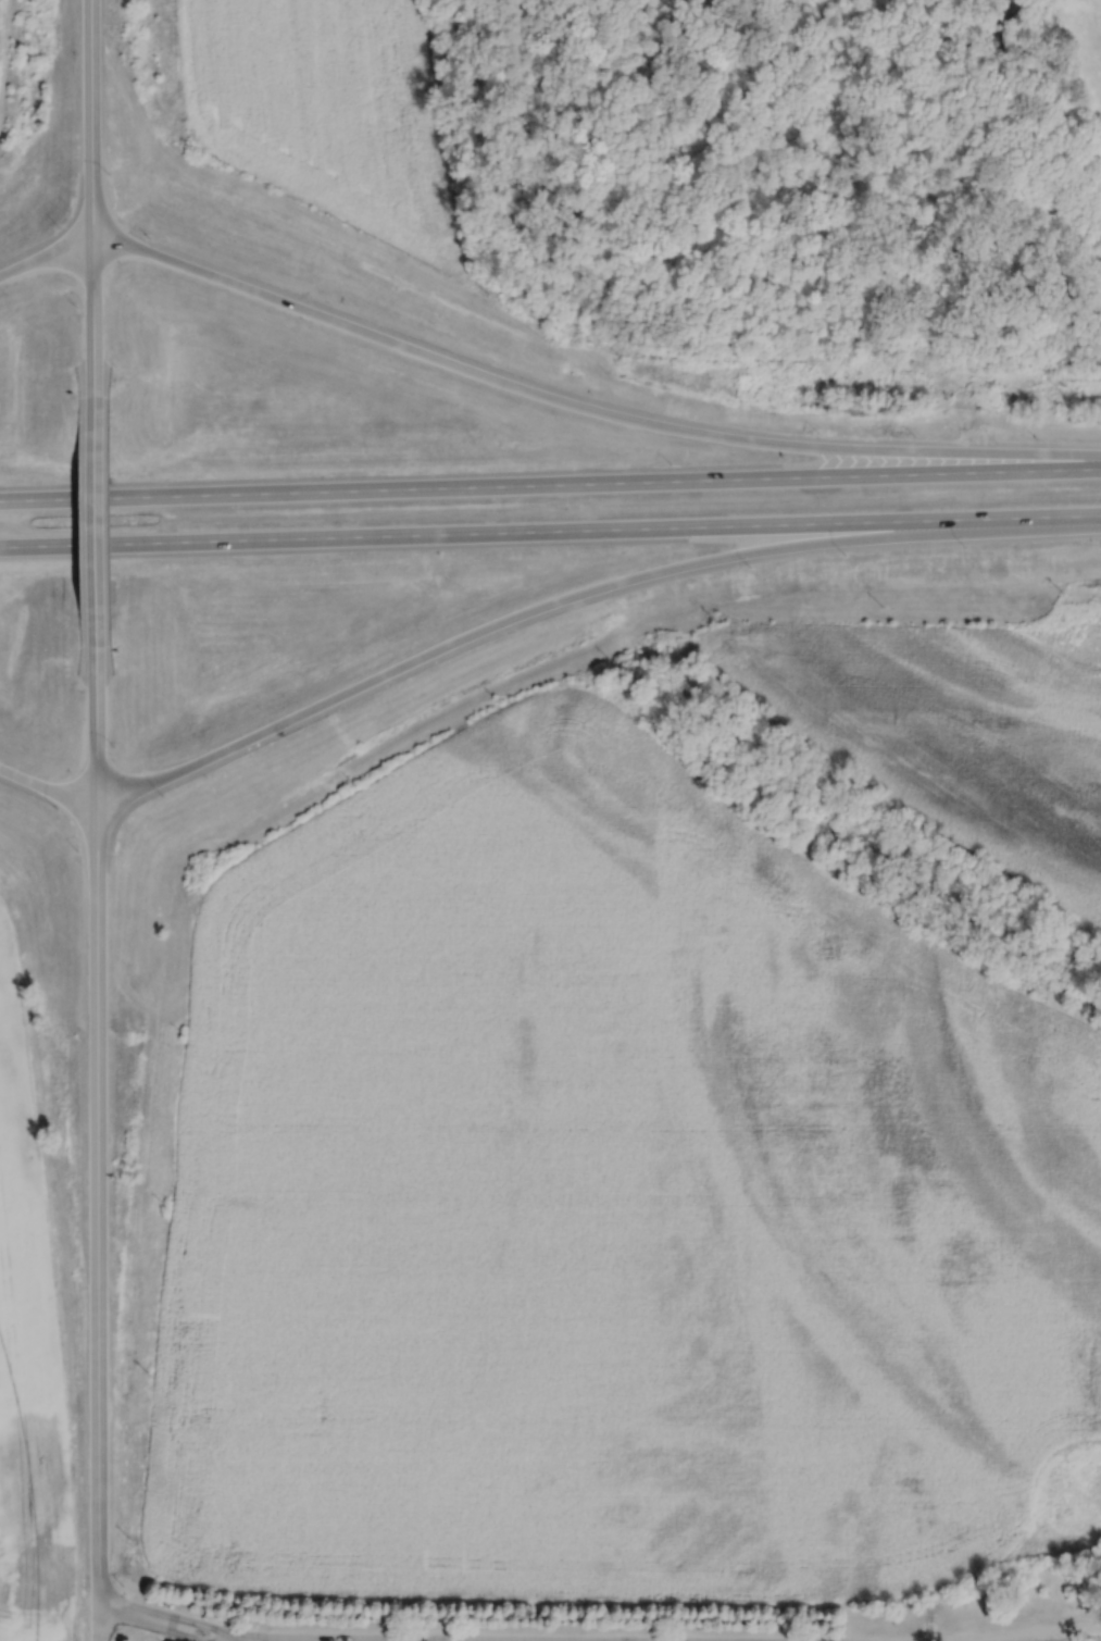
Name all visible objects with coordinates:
road: (1, 22)
road: (90, 120)
street lamp: (110, 170)
street lamp: (50, 221)
street lamp: (148, 231)
road: (45, 254)
street lamp: (74, 304)
road: (92, 327)
road: (584, 408)
street lamp: (820, 432)
street lamp: (915, 434)
street lamp: (1037, 435)
street lamp: (671, 461)
road: (550, 483)
road: (95, 519)
road: (550, 530)
street lamp: (965, 549)
street lamp: (846, 555)
street lamp: (751, 565)
road: (580, 592)
road: (96, 708)
crop: (949, 729)
street lamp: (114, 742)
road: (47, 786)
street lamp: (163, 793)
street lamp: (57, 806)
street lamp: (71, 848)
road: (98, 1195)
crop: (611, 1208)
crop: (28, 1362)
street lamp: (122, 1587)
road: (98, 1619)
road: (150, 1626)
road: (215, 1629)
road: (1029, 1631)
building: (202, 1632)
road: (239, 1640)
road: (241, 1640)

